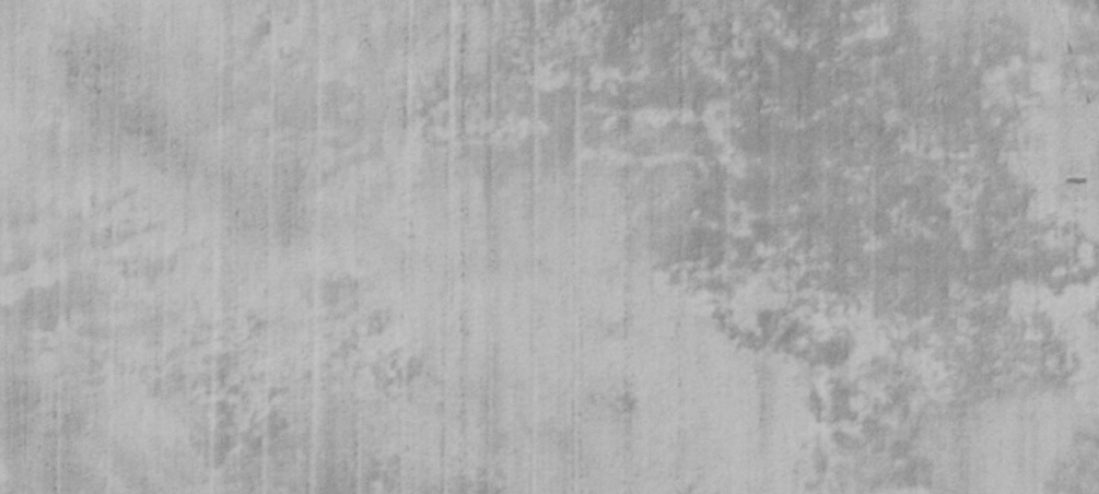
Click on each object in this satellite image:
crop: (549, 247)

